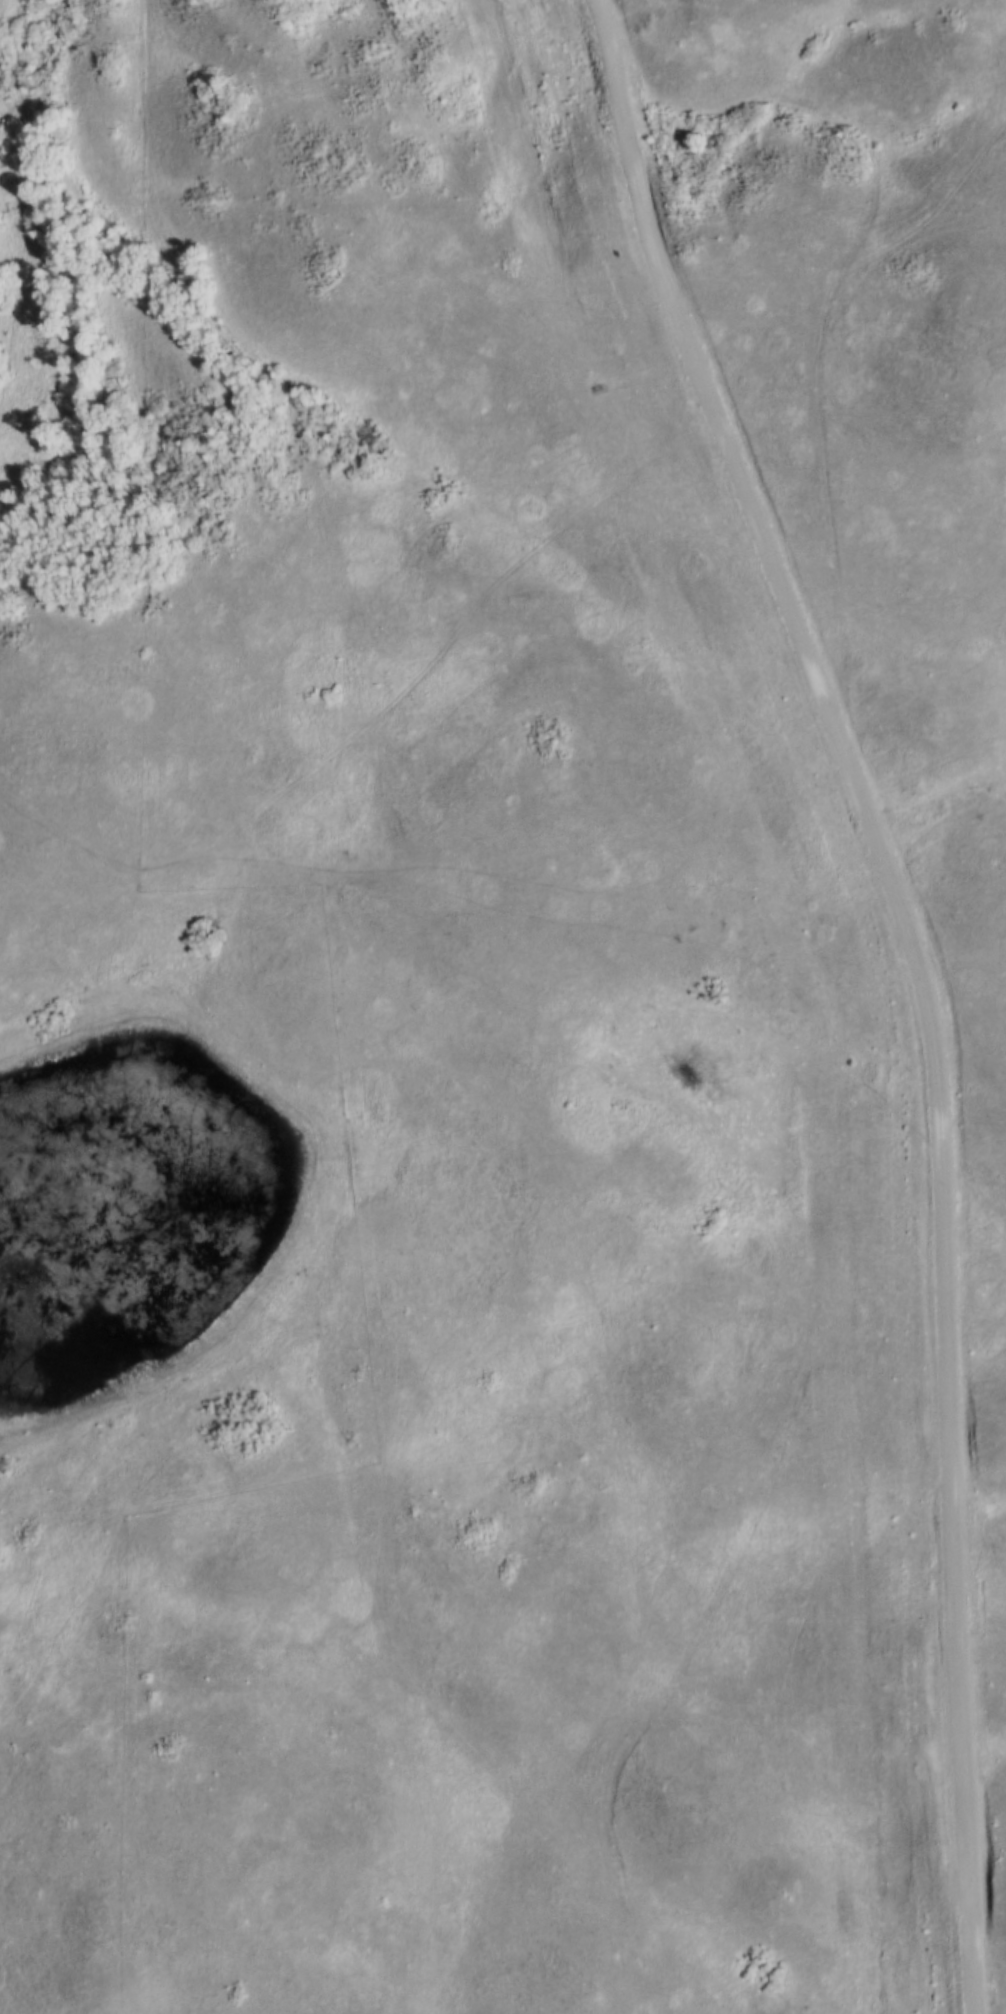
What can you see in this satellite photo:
road: (624, 437)
road: (930, 976)

